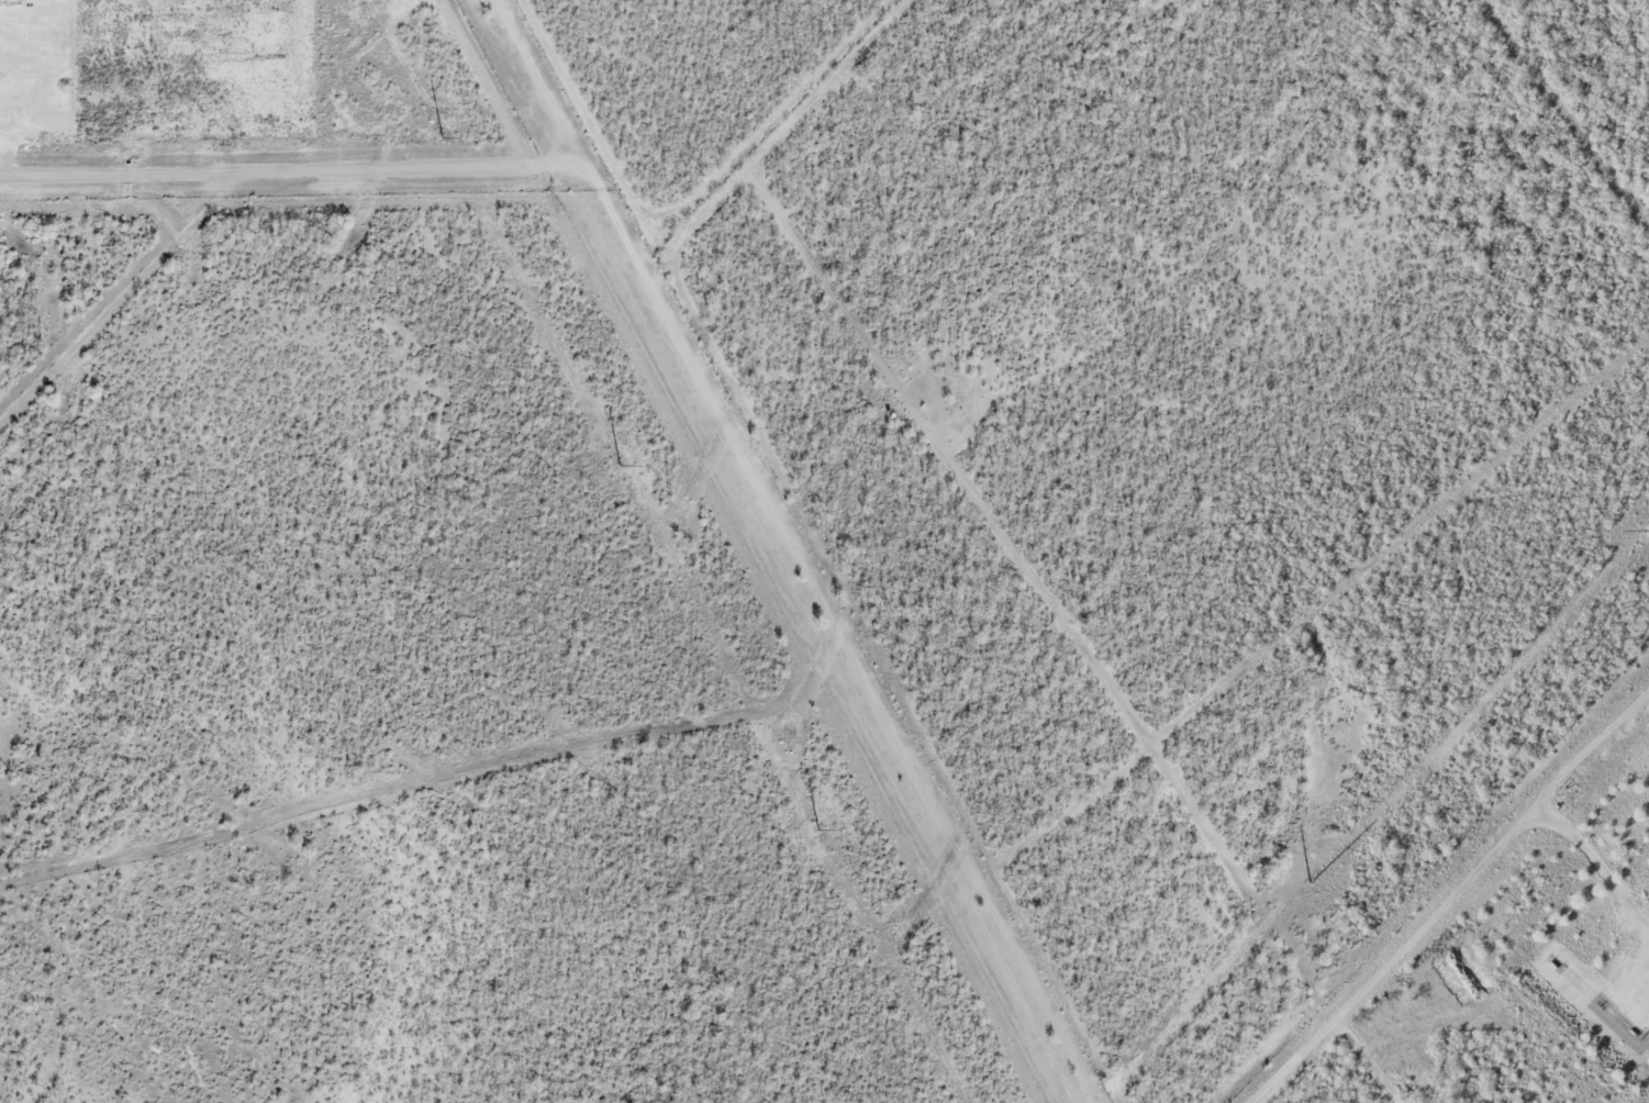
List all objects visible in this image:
power tower: (442, 140)
power tower: (620, 466)
power tower: (1645, 534)
power tower: (814, 829)
power tower: (1308, 880)

